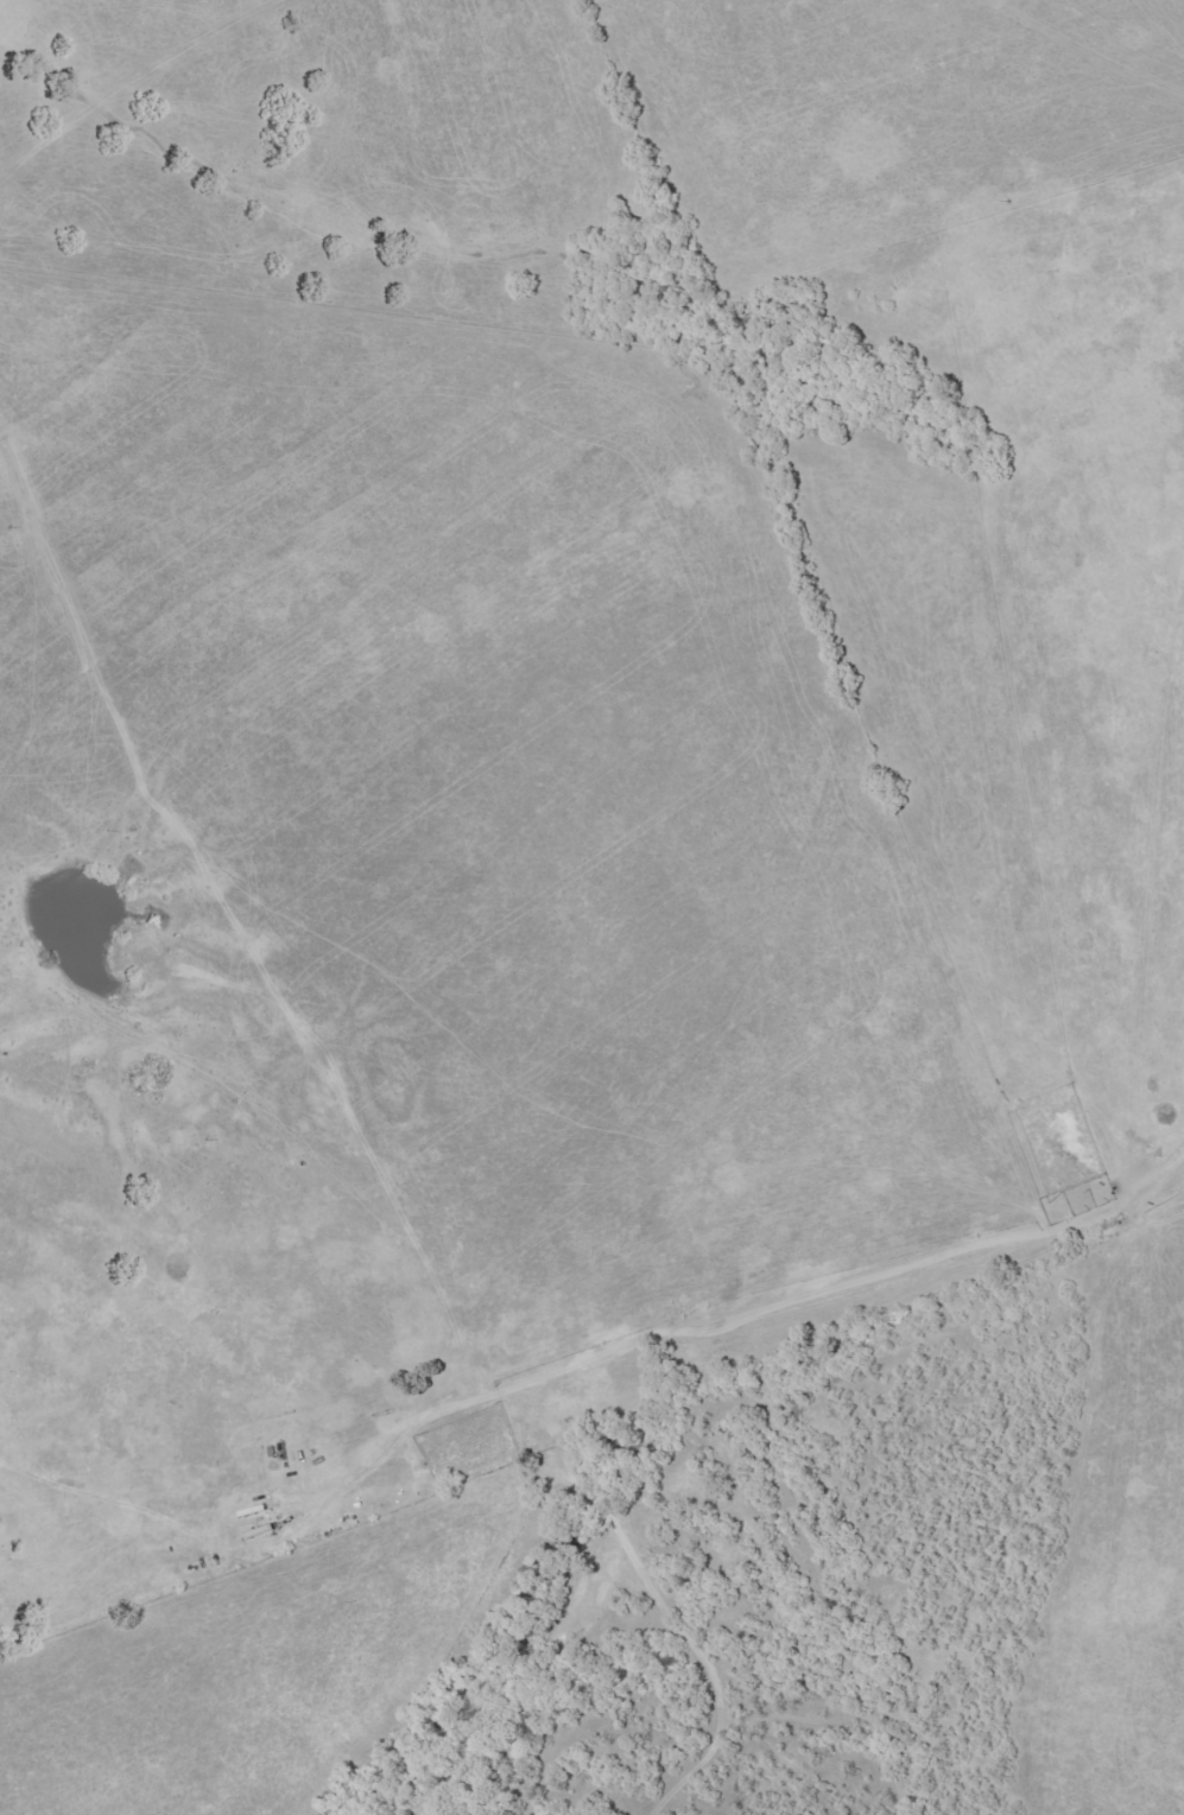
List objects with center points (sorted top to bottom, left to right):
road: (722, 1316)

